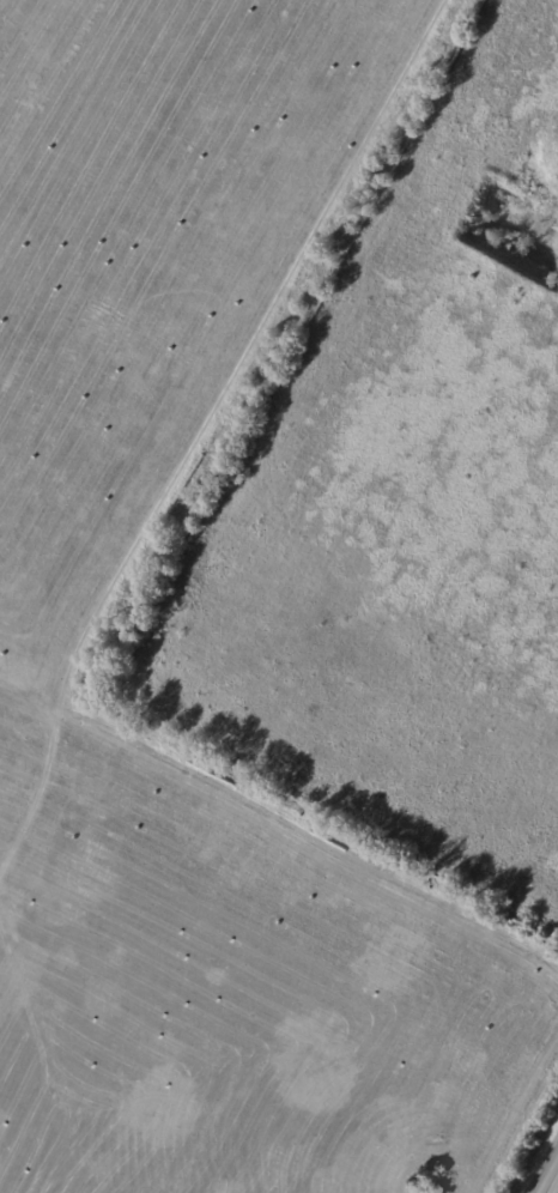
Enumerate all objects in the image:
crop: (139, 346)
road: (551, 1181)

